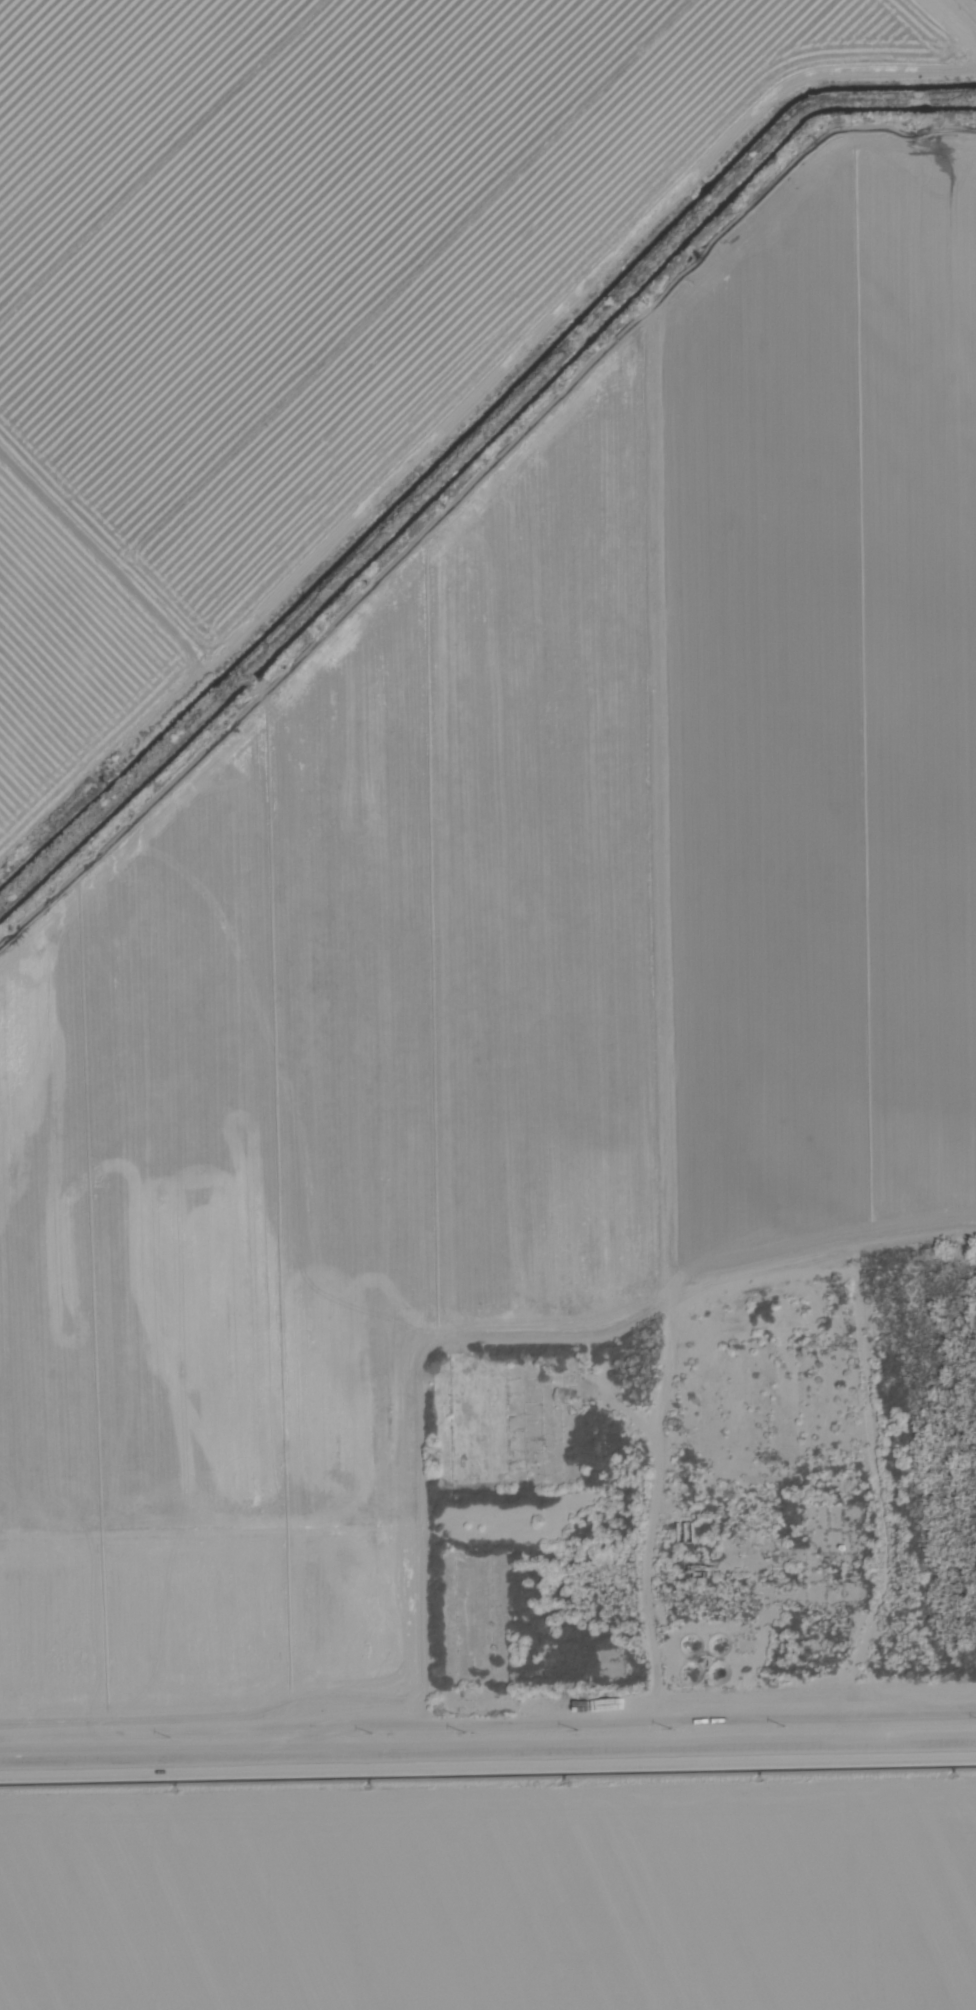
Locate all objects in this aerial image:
road: (488, 1735)

